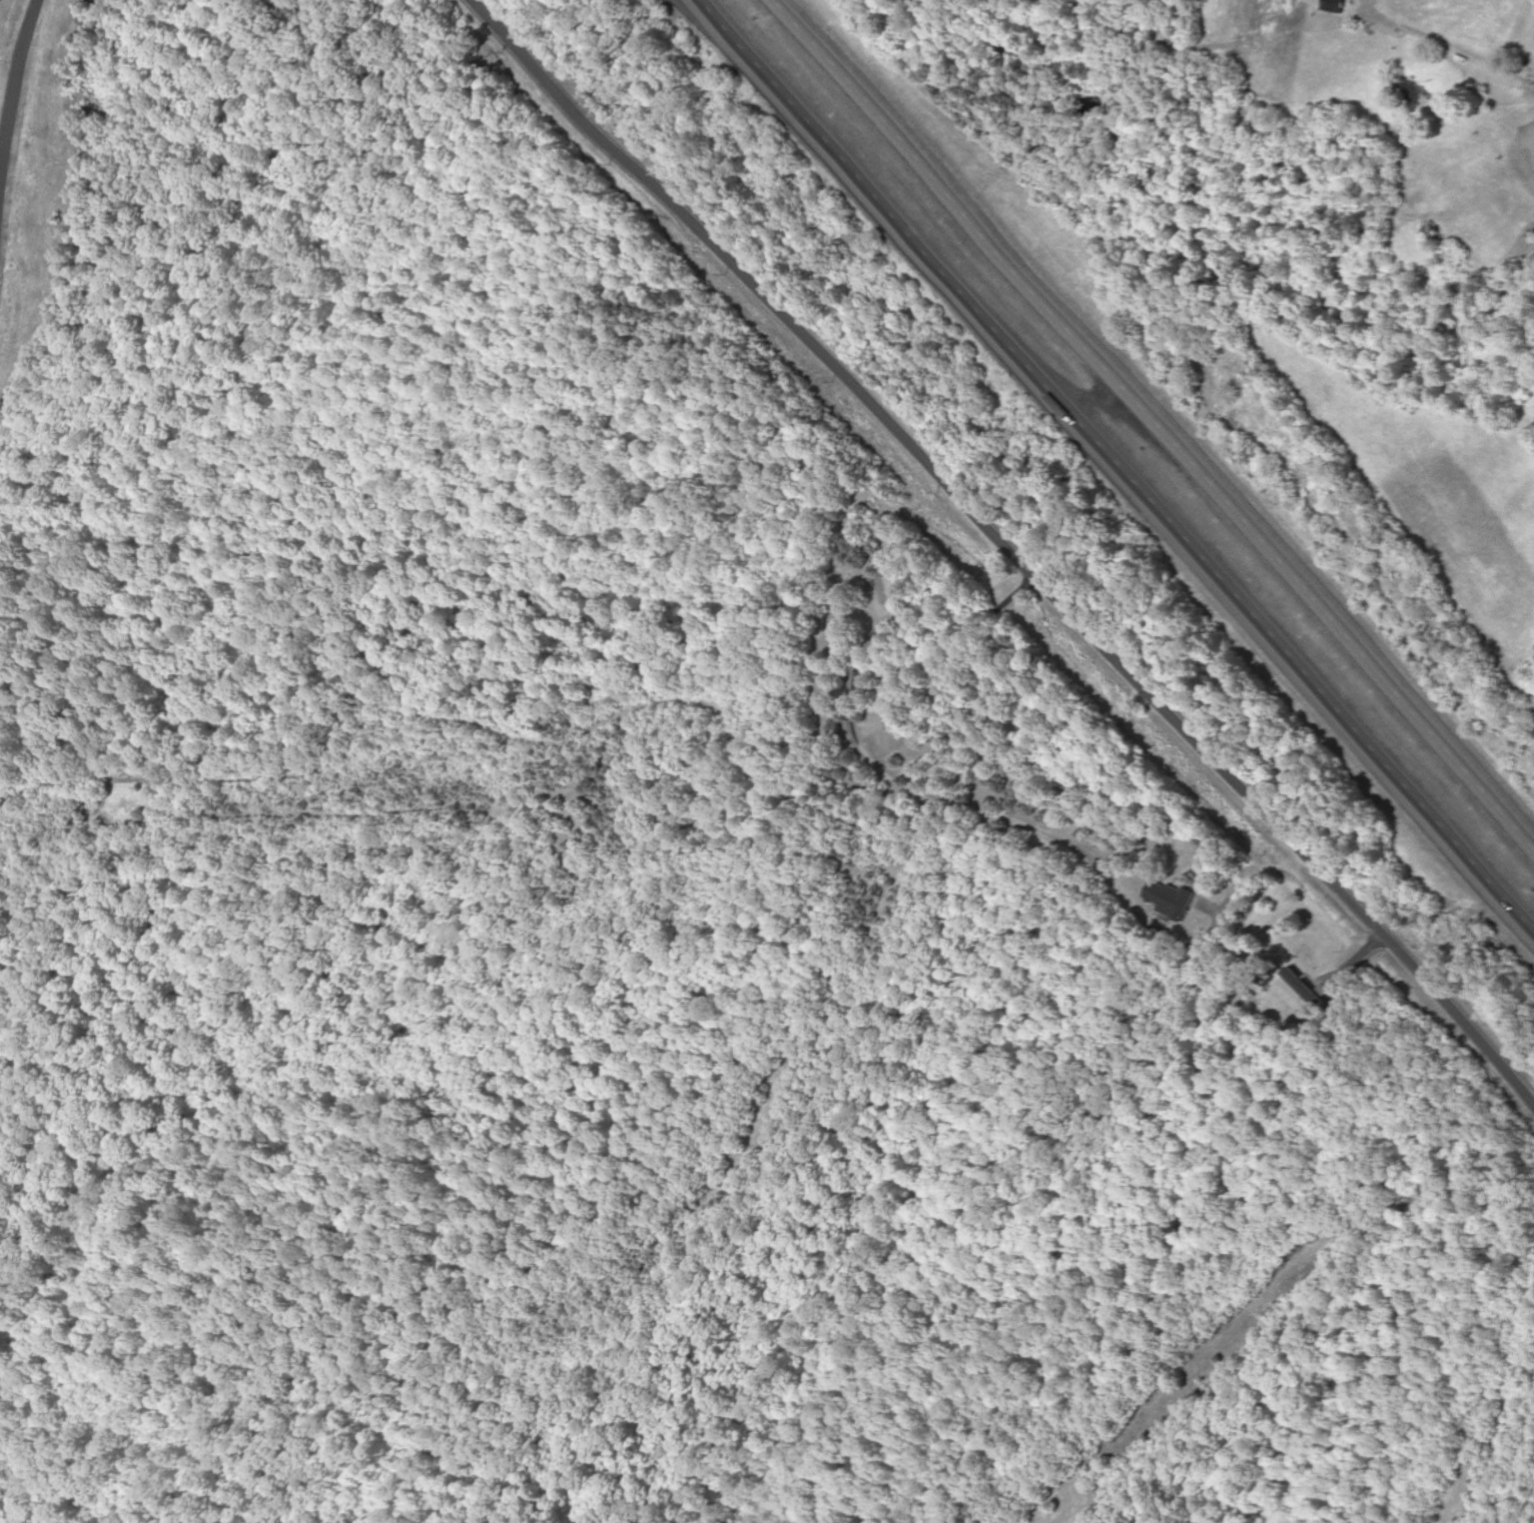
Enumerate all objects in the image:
building: (1336, 6)
road: (1155, 427)
road: (1120, 465)
road: (1010, 549)
building: (888, 590)
building: (1171, 901)
building: (1303, 991)

